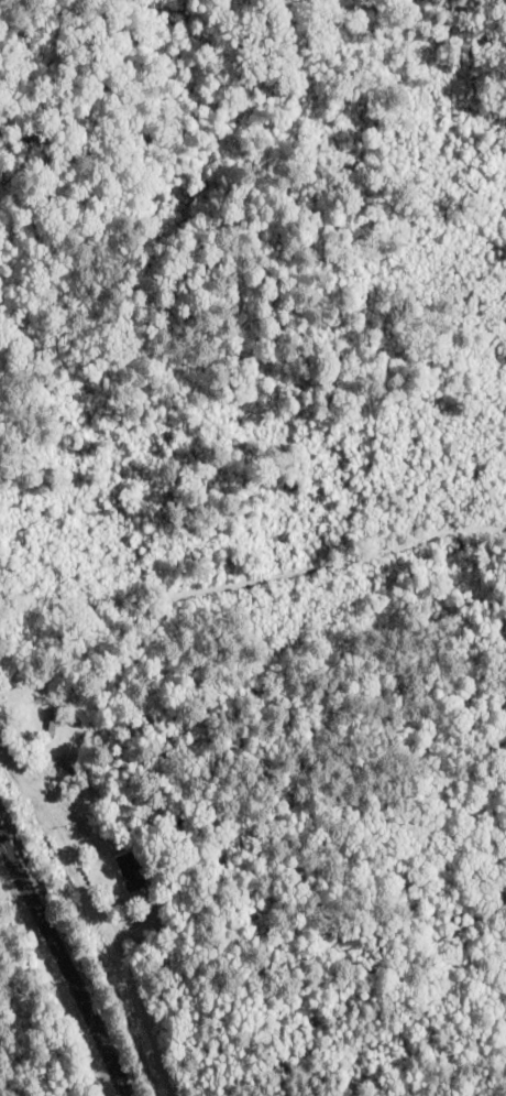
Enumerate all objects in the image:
road: (253, 576)
building: (41, 702)
building: (50, 719)
road: (58, 800)
building: (129, 868)
road: (65, 964)

